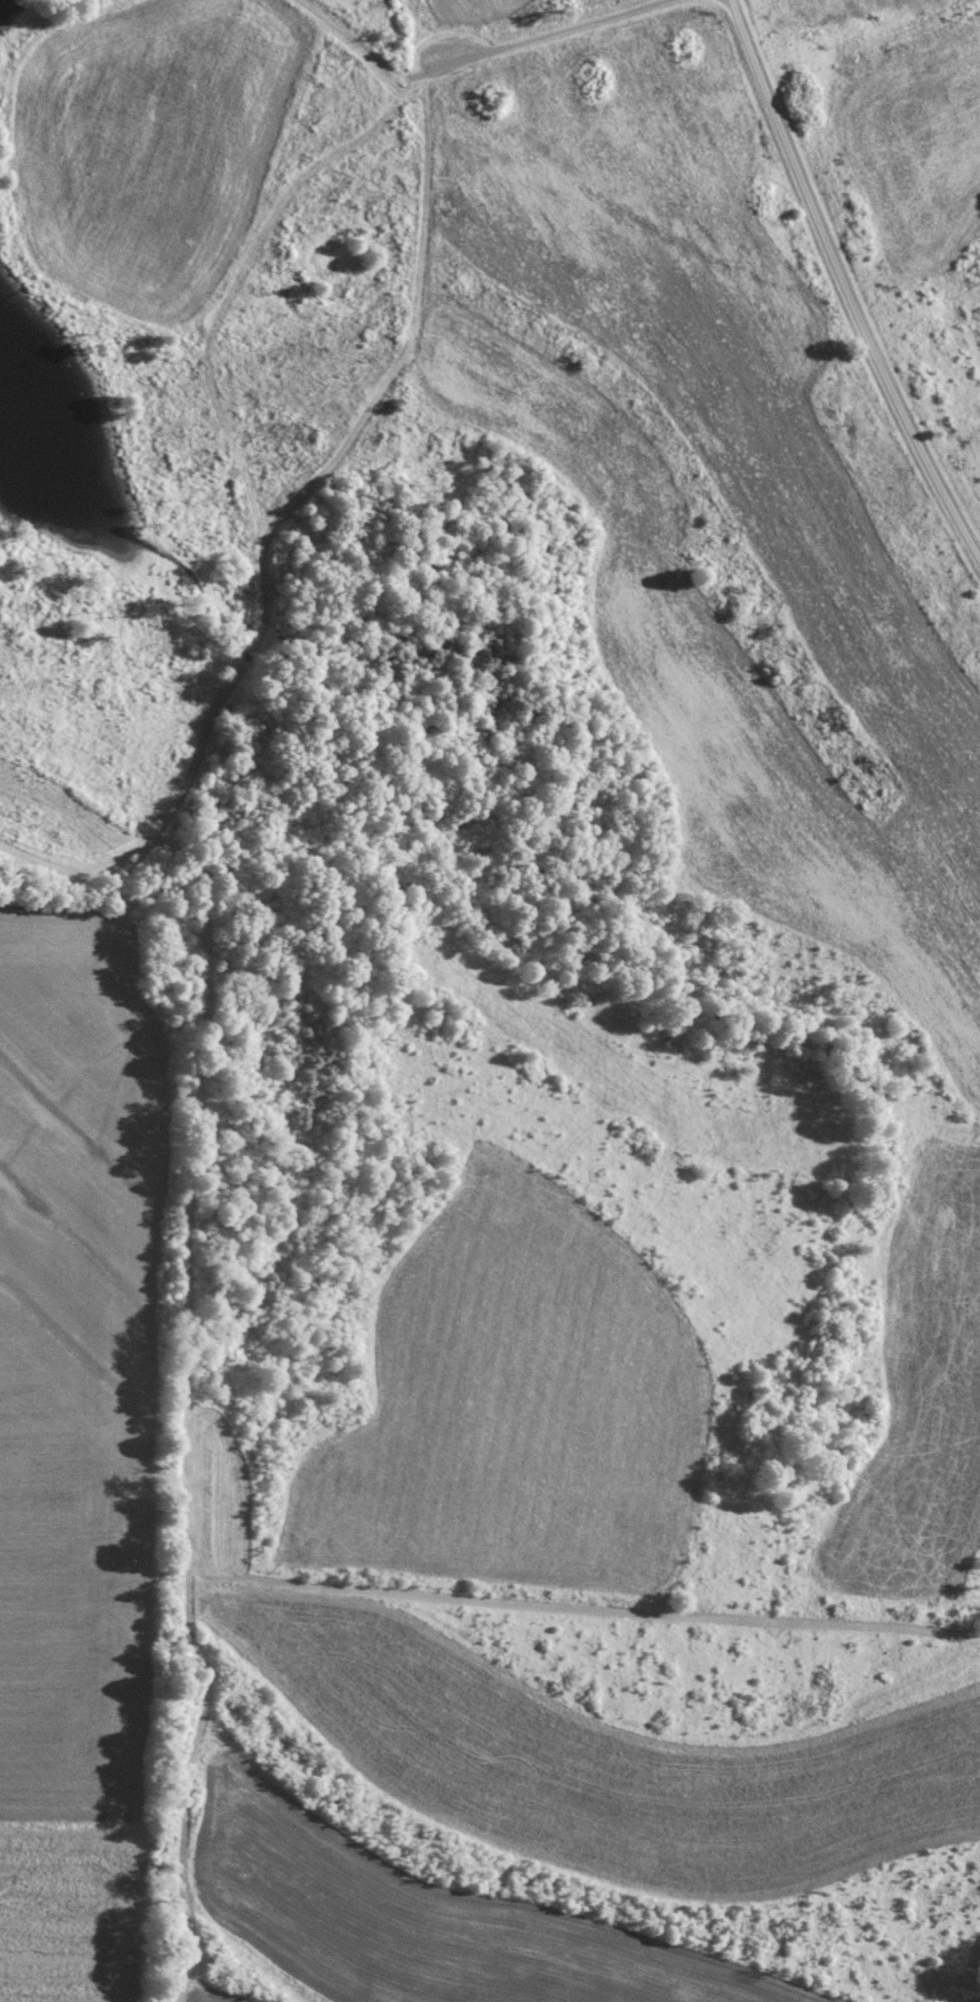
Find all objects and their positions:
road: (841, 286)

